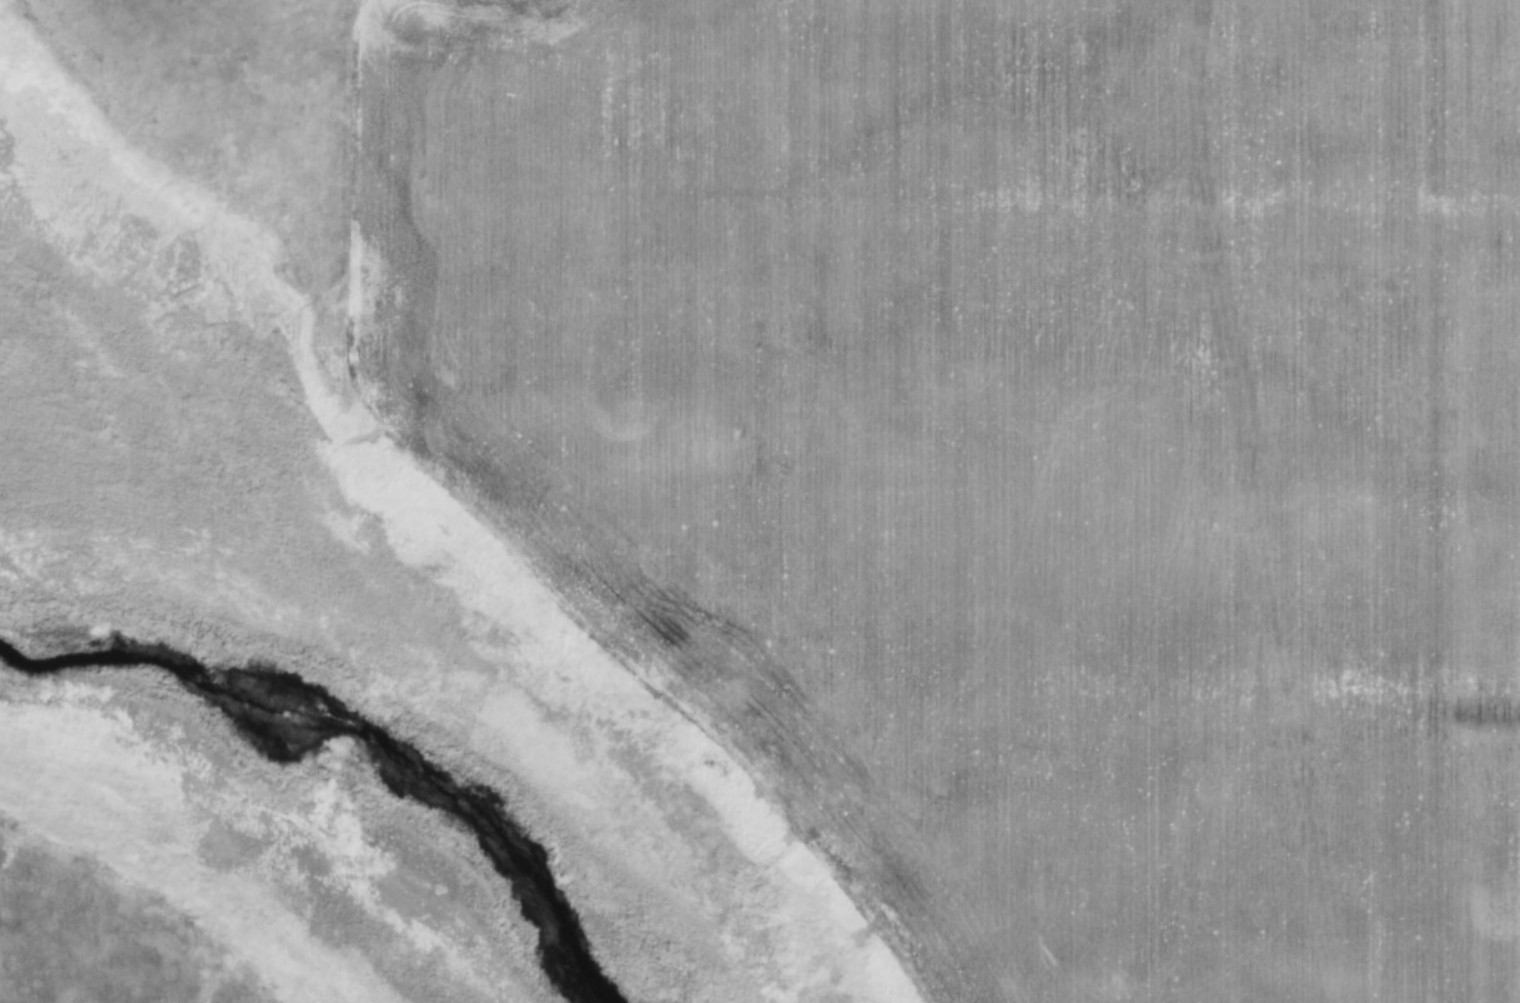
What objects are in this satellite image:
river: (371, 737)

